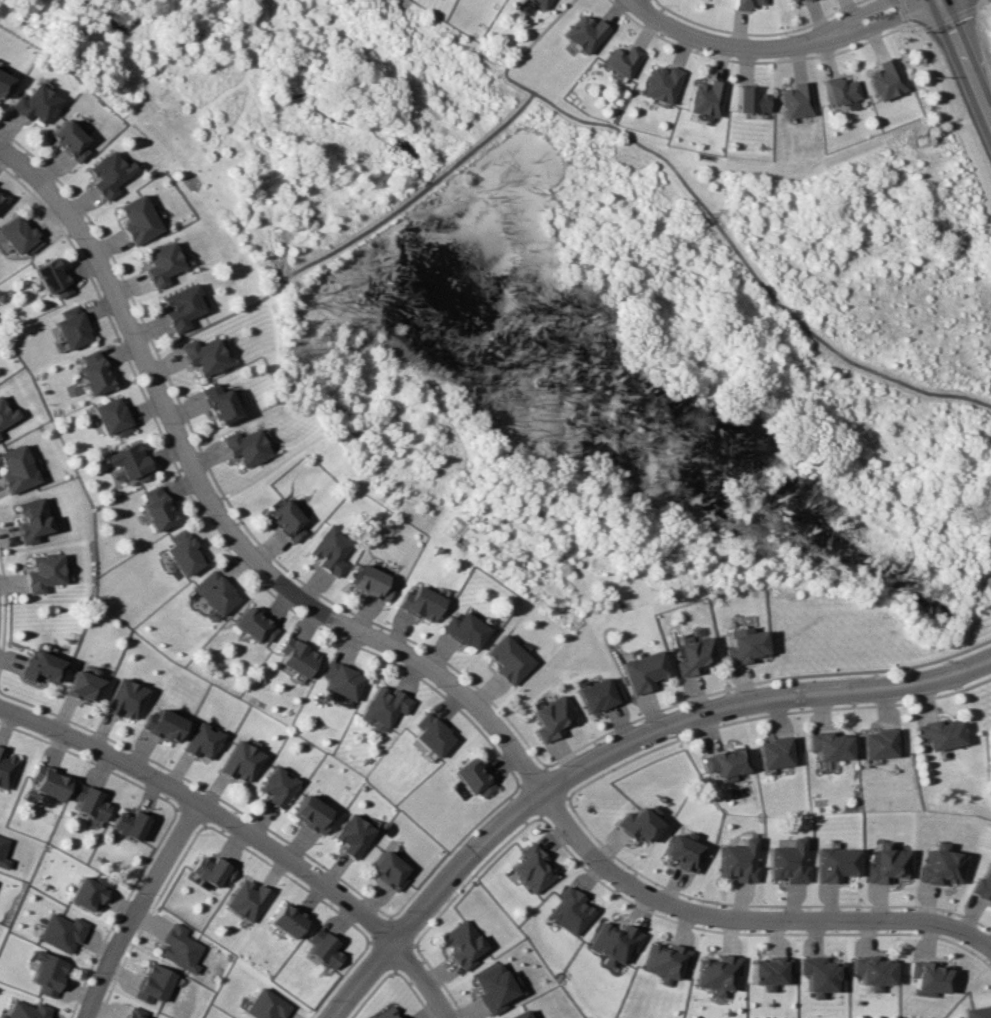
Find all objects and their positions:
building: (788, 0)
building: (802, 0)
power tower: (352, 3)
building: (538, 3)
building: (745, 3)
building: (583, 33)
road: (771, 49)
road: (966, 56)
building: (621, 60)
building: (884, 80)
building: (3, 83)
building: (660, 83)
building: (838, 90)
building: (704, 98)
building: (749, 100)
building: (795, 100)
building: (35, 104)
building: (68, 140)
building: (108, 173)
building: (0, 199)
road: (403, 201)
power tower: (683, 217)
building: (137, 219)
building: (19, 234)
building: (160, 263)
road: (754, 267)
building: (50, 277)
building: (180, 307)
building: (72, 327)
building: (202, 355)
building: (94, 373)
building: (218, 403)
building: (7, 413)
building: (113, 416)
building: (0, 436)
building: (244, 446)
building: (131, 461)
building: (17, 469)
building: (157, 509)
road: (220, 517)
building: (31, 519)
building: (287, 520)
building: (330, 550)
building: (183, 552)
building: (44, 571)
building: (371, 582)
building: (215, 592)
building: (420, 602)
building: (253, 624)
building: (464, 630)
building: (742, 645)
building: (692, 655)
building: (297, 657)
building: (507, 659)
building: (41, 667)
building: (642, 671)
building: (342, 680)
building: (83, 685)
building: (597, 695)
building: (124, 698)
building: (385, 705)
building: (550, 717)
building: (163, 724)
road: (657, 731)
building: (432, 734)
building: (939, 734)
building: (203, 740)
building: (884, 743)
building: (831, 746)
building: (777, 751)
building: (242, 761)
building: (726, 762)
building: (6, 768)
building: (472, 777)
building: (49, 781)
building: (278, 786)
building: (90, 802)
road: (206, 807)
building: (312, 813)
building: (637, 823)
building: (131, 824)
building: (354, 835)
building: (3, 852)
building: (682, 853)
building: (738, 860)
building: (788, 862)
building: (836, 863)
building: (887, 863)
building: (940, 866)
building: (534, 868)
building: (214, 870)
building: (389, 870)
building: (983, 882)
building: (89, 893)
building: (250, 900)
road: (140, 908)
building: (572, 911)
road: (740, 918)
building: (290, 921)
building: (62, 931)
road: (985, 941)
building: (616, 942)
building: (464, 944)
building: (182, 948)
building: (325, 949)
building: (666, 961)
building: (772, 971)
building: (874, 971)
building: (48, 973)
building: (720, 973)
building: (824, 975)
road: (422, 977)
building: (929, 977)
road: (362, 979)
building: (156, 983)
building: (493, 987)
building: (266, 1005)
building: (27, 1010)
building: (136, 1012)
building: (977, 1012)
building: (385, 1013)
building: (521, 1014)
building: (395, 1017)

